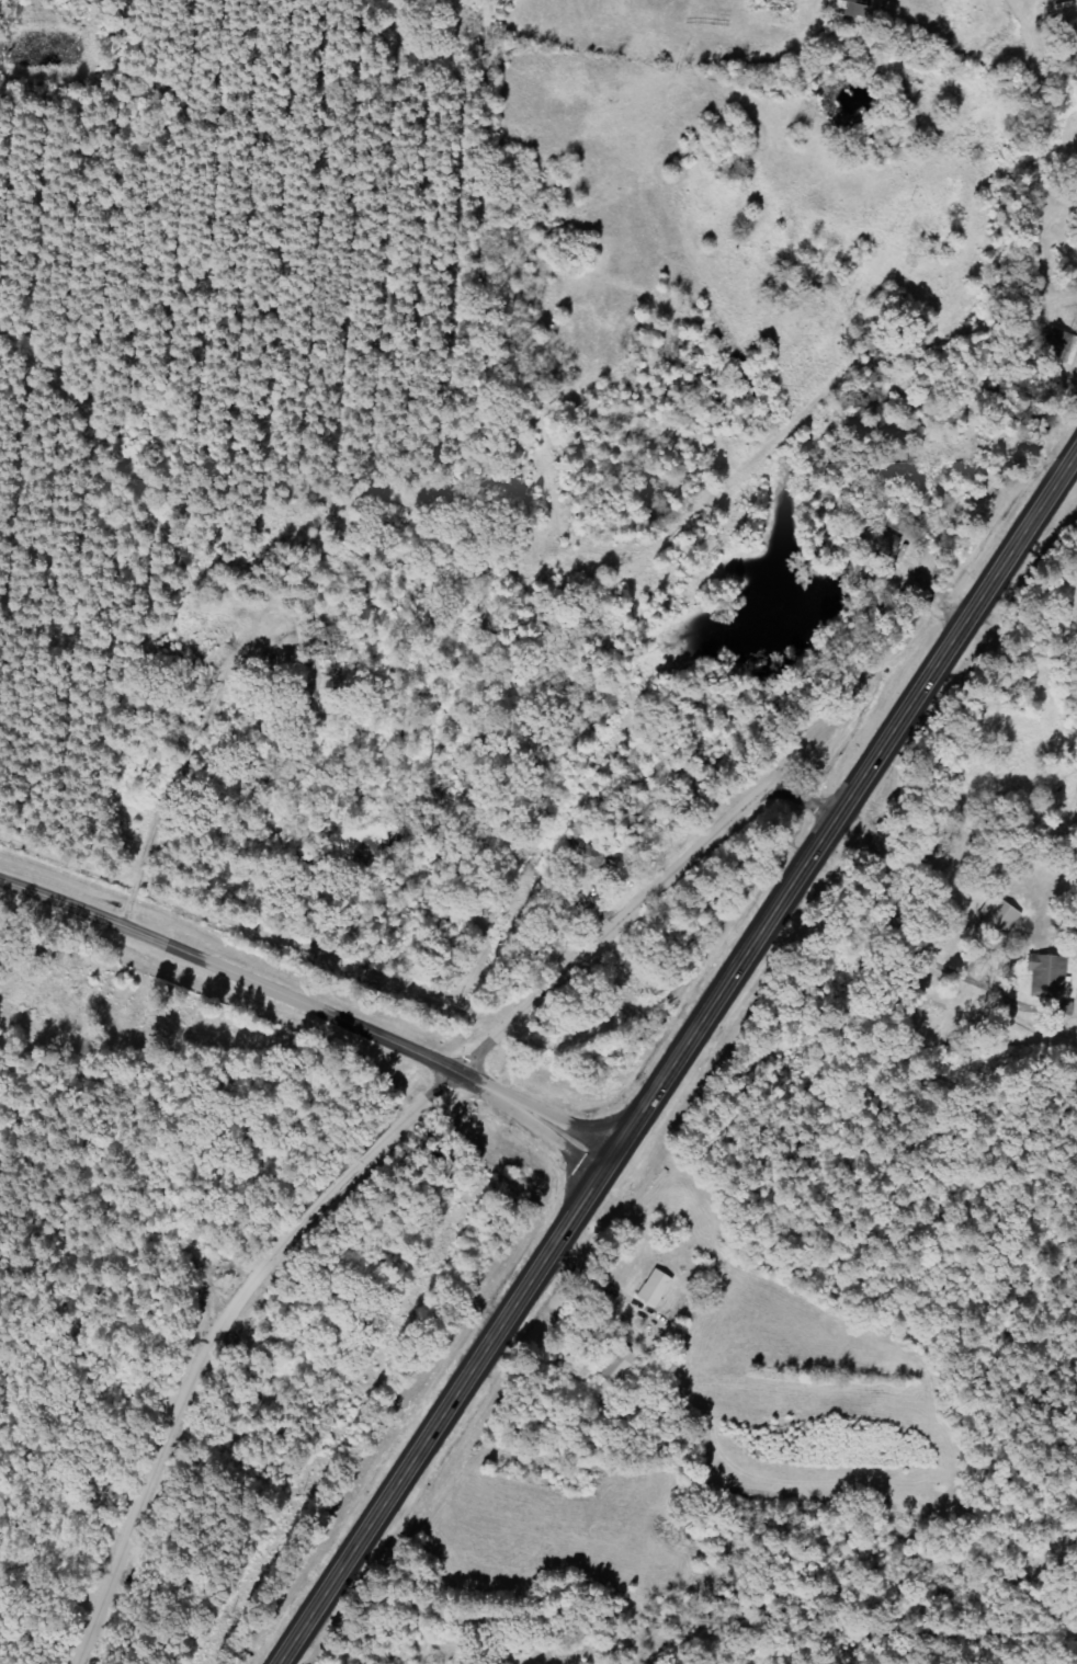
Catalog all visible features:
building: (1059, 340)
road: (801, 410)
building: (886, 540)
road: (844, 805)
building: (1000, 914)
road: (937, 947)
building: (1051, 976)
road: (311, 1004)
road: (376, 1146)
building: (654, 1288)
road: (446, 1412)

